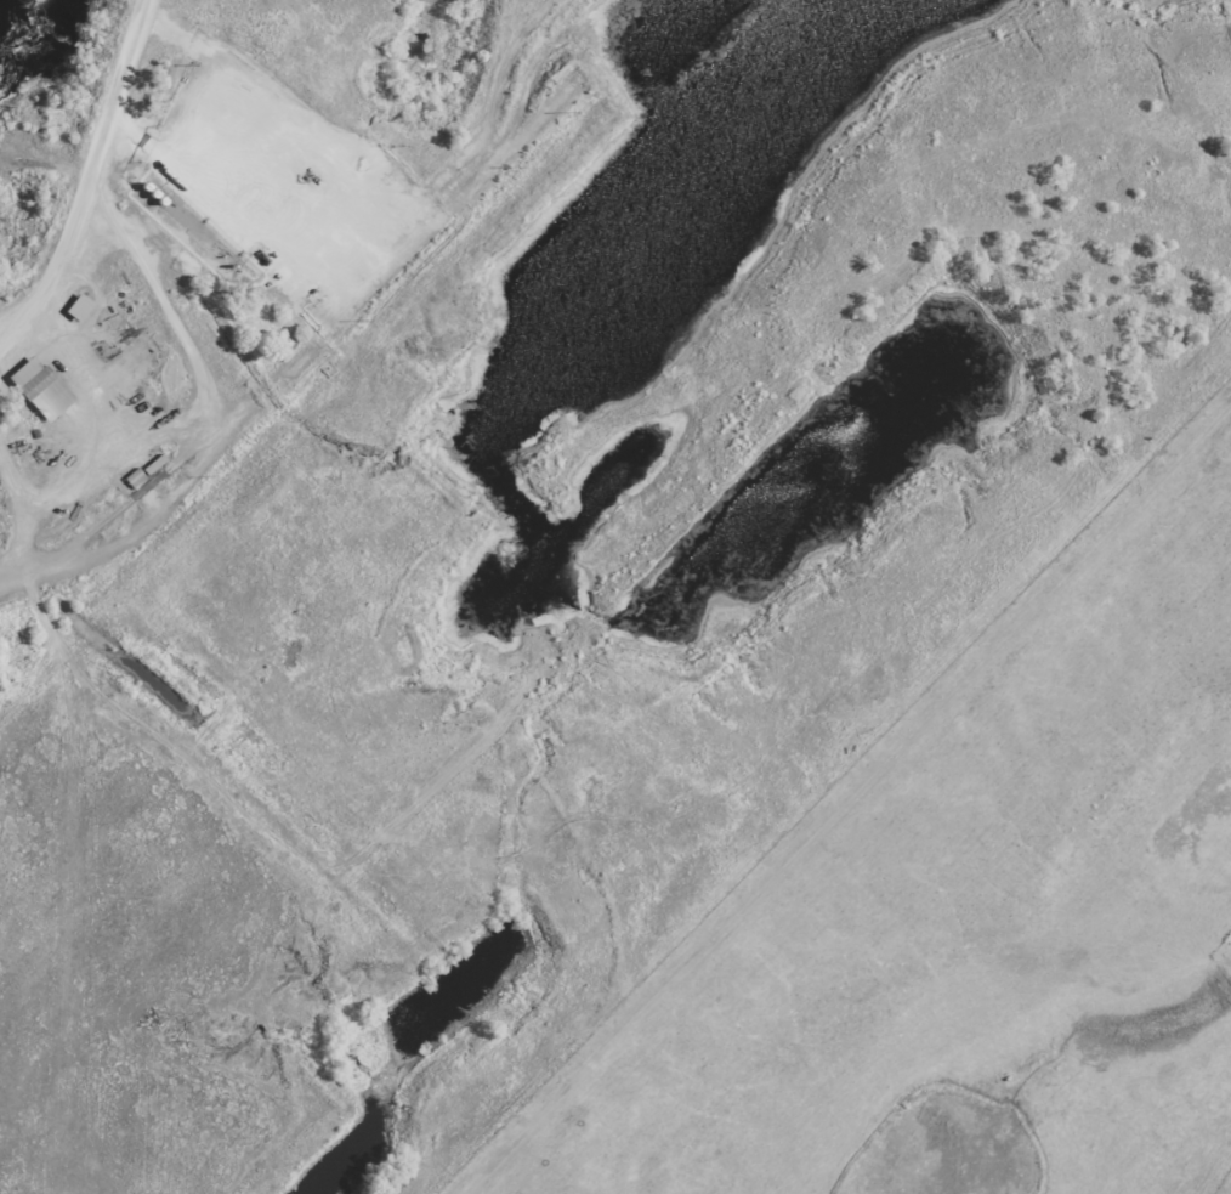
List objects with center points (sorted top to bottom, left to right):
building: (75, 307)
road: (351, 311)
building: (32, 381)

